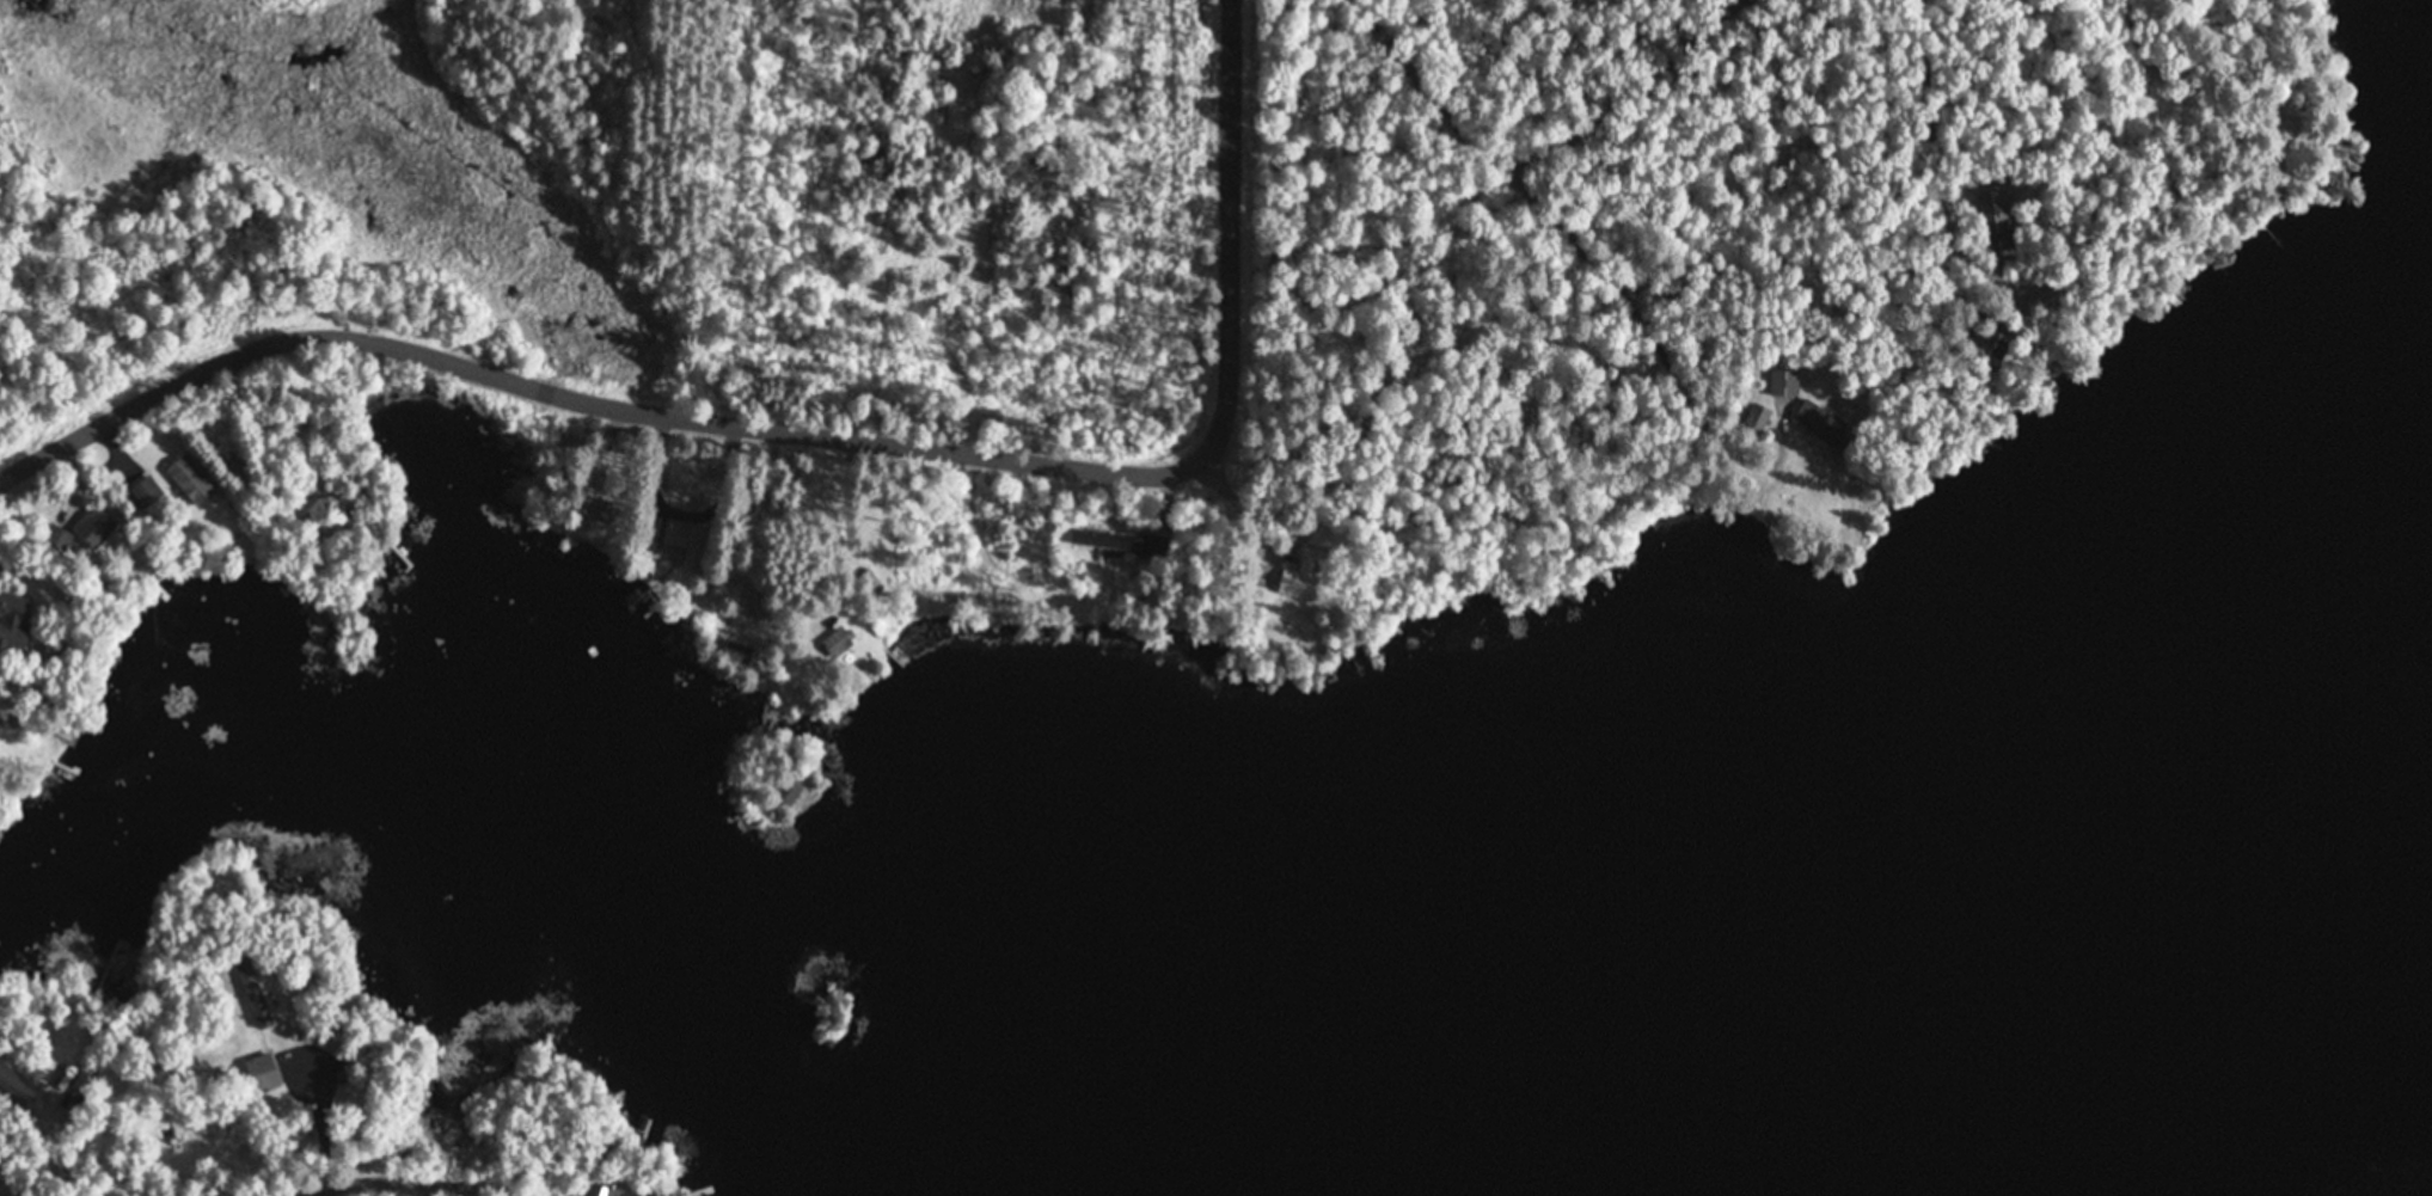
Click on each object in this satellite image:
road: (1891, 155)
road: (1539, 157)
building: (1993, 222)
building: (1991, 343)
building: (1784, 384)
building: (1758, 419)
road: (815, 427)
building: (1825, 427)
building: (241, 468)
building: (192, 479)
building: (148, 490)
building: (329, 514)
building: (85, 529)
building: (676, 541)
building: (1121, 544)
building: (1304, 576)
building: (14, 620)
building: (838, 642)
building: (737, 655)
building: (791, 789)
building: (257, 996)
river: (1873, 1010)
building: (263, 1072)
road: (344, 1173)
building: (605, 1190)

